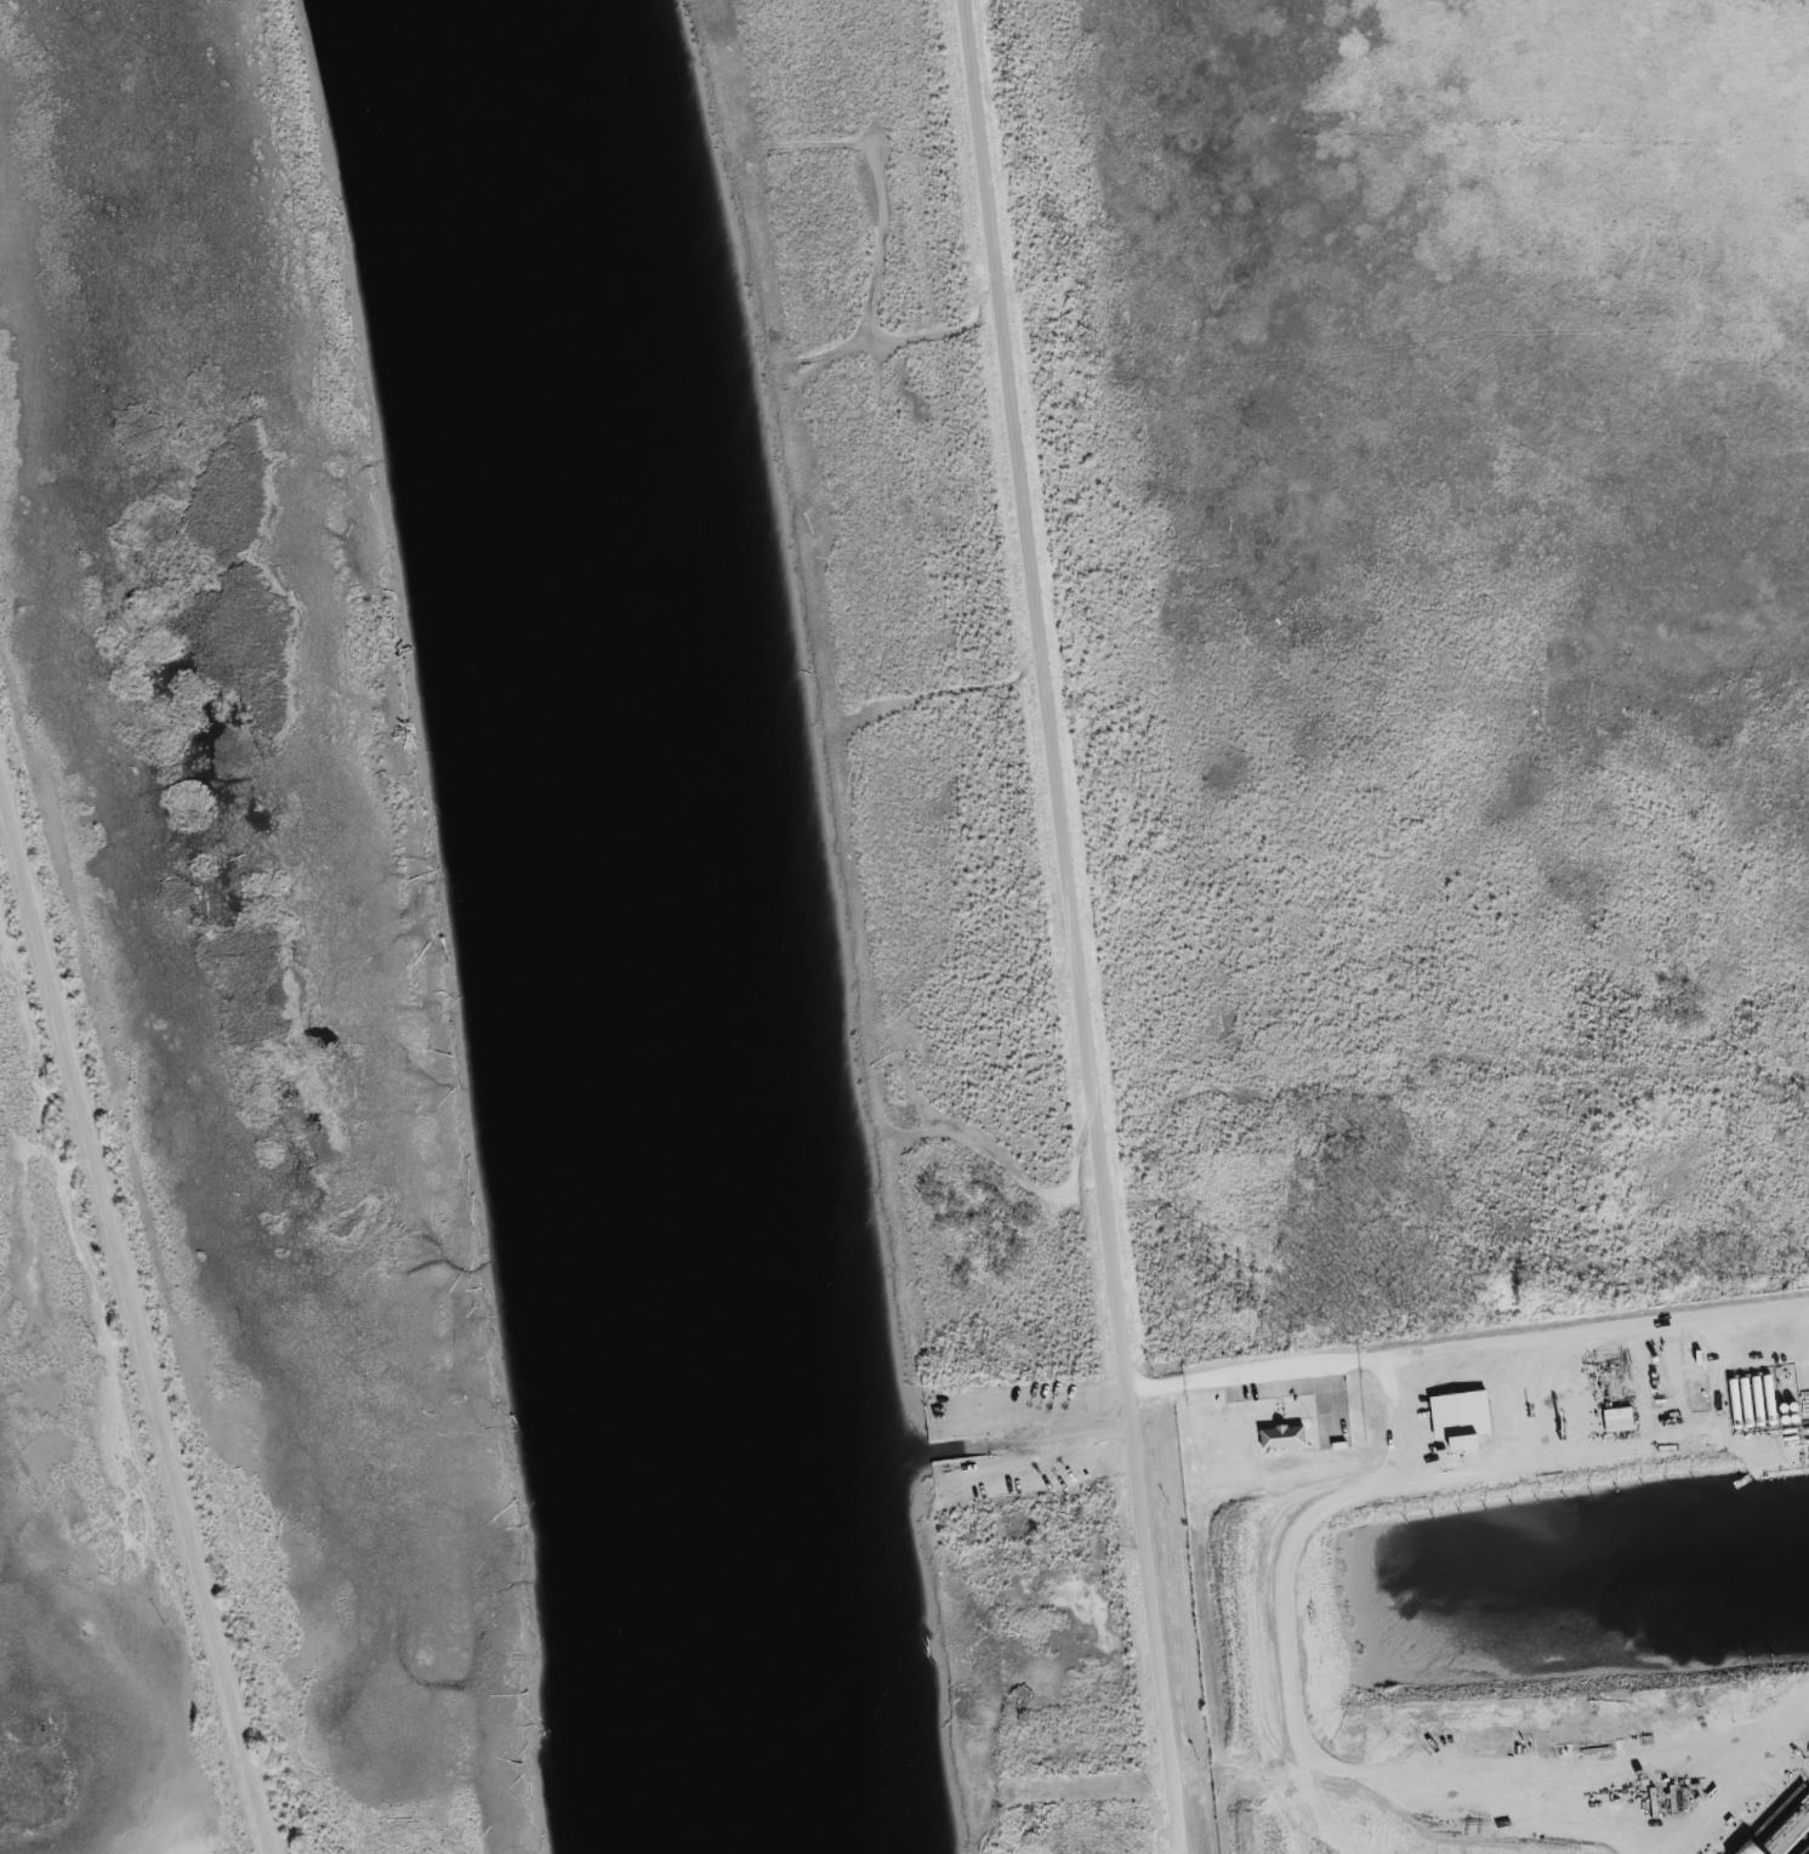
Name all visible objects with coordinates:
river: (626, 925)
road: (1077, 926)
road: (135, 1314)
road: (1470, 1349)
building: (1280, 1440)

